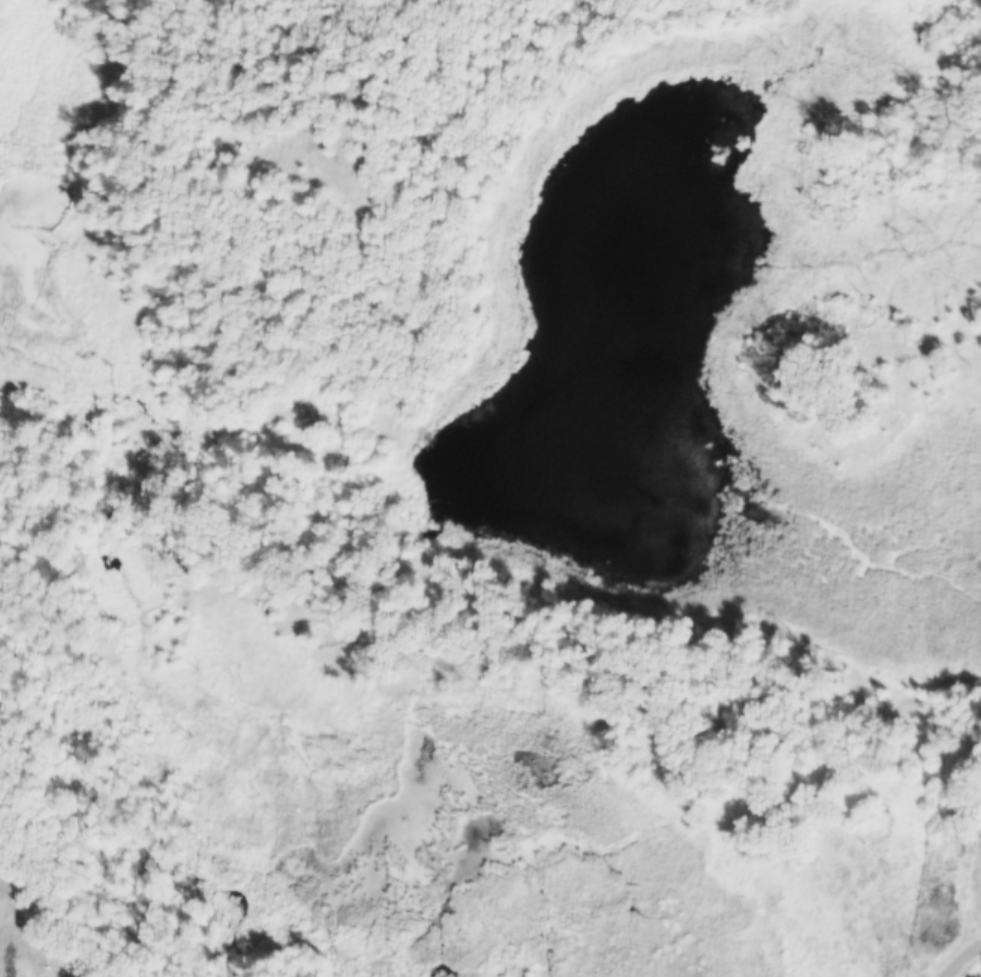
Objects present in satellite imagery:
road: (961, 958)

